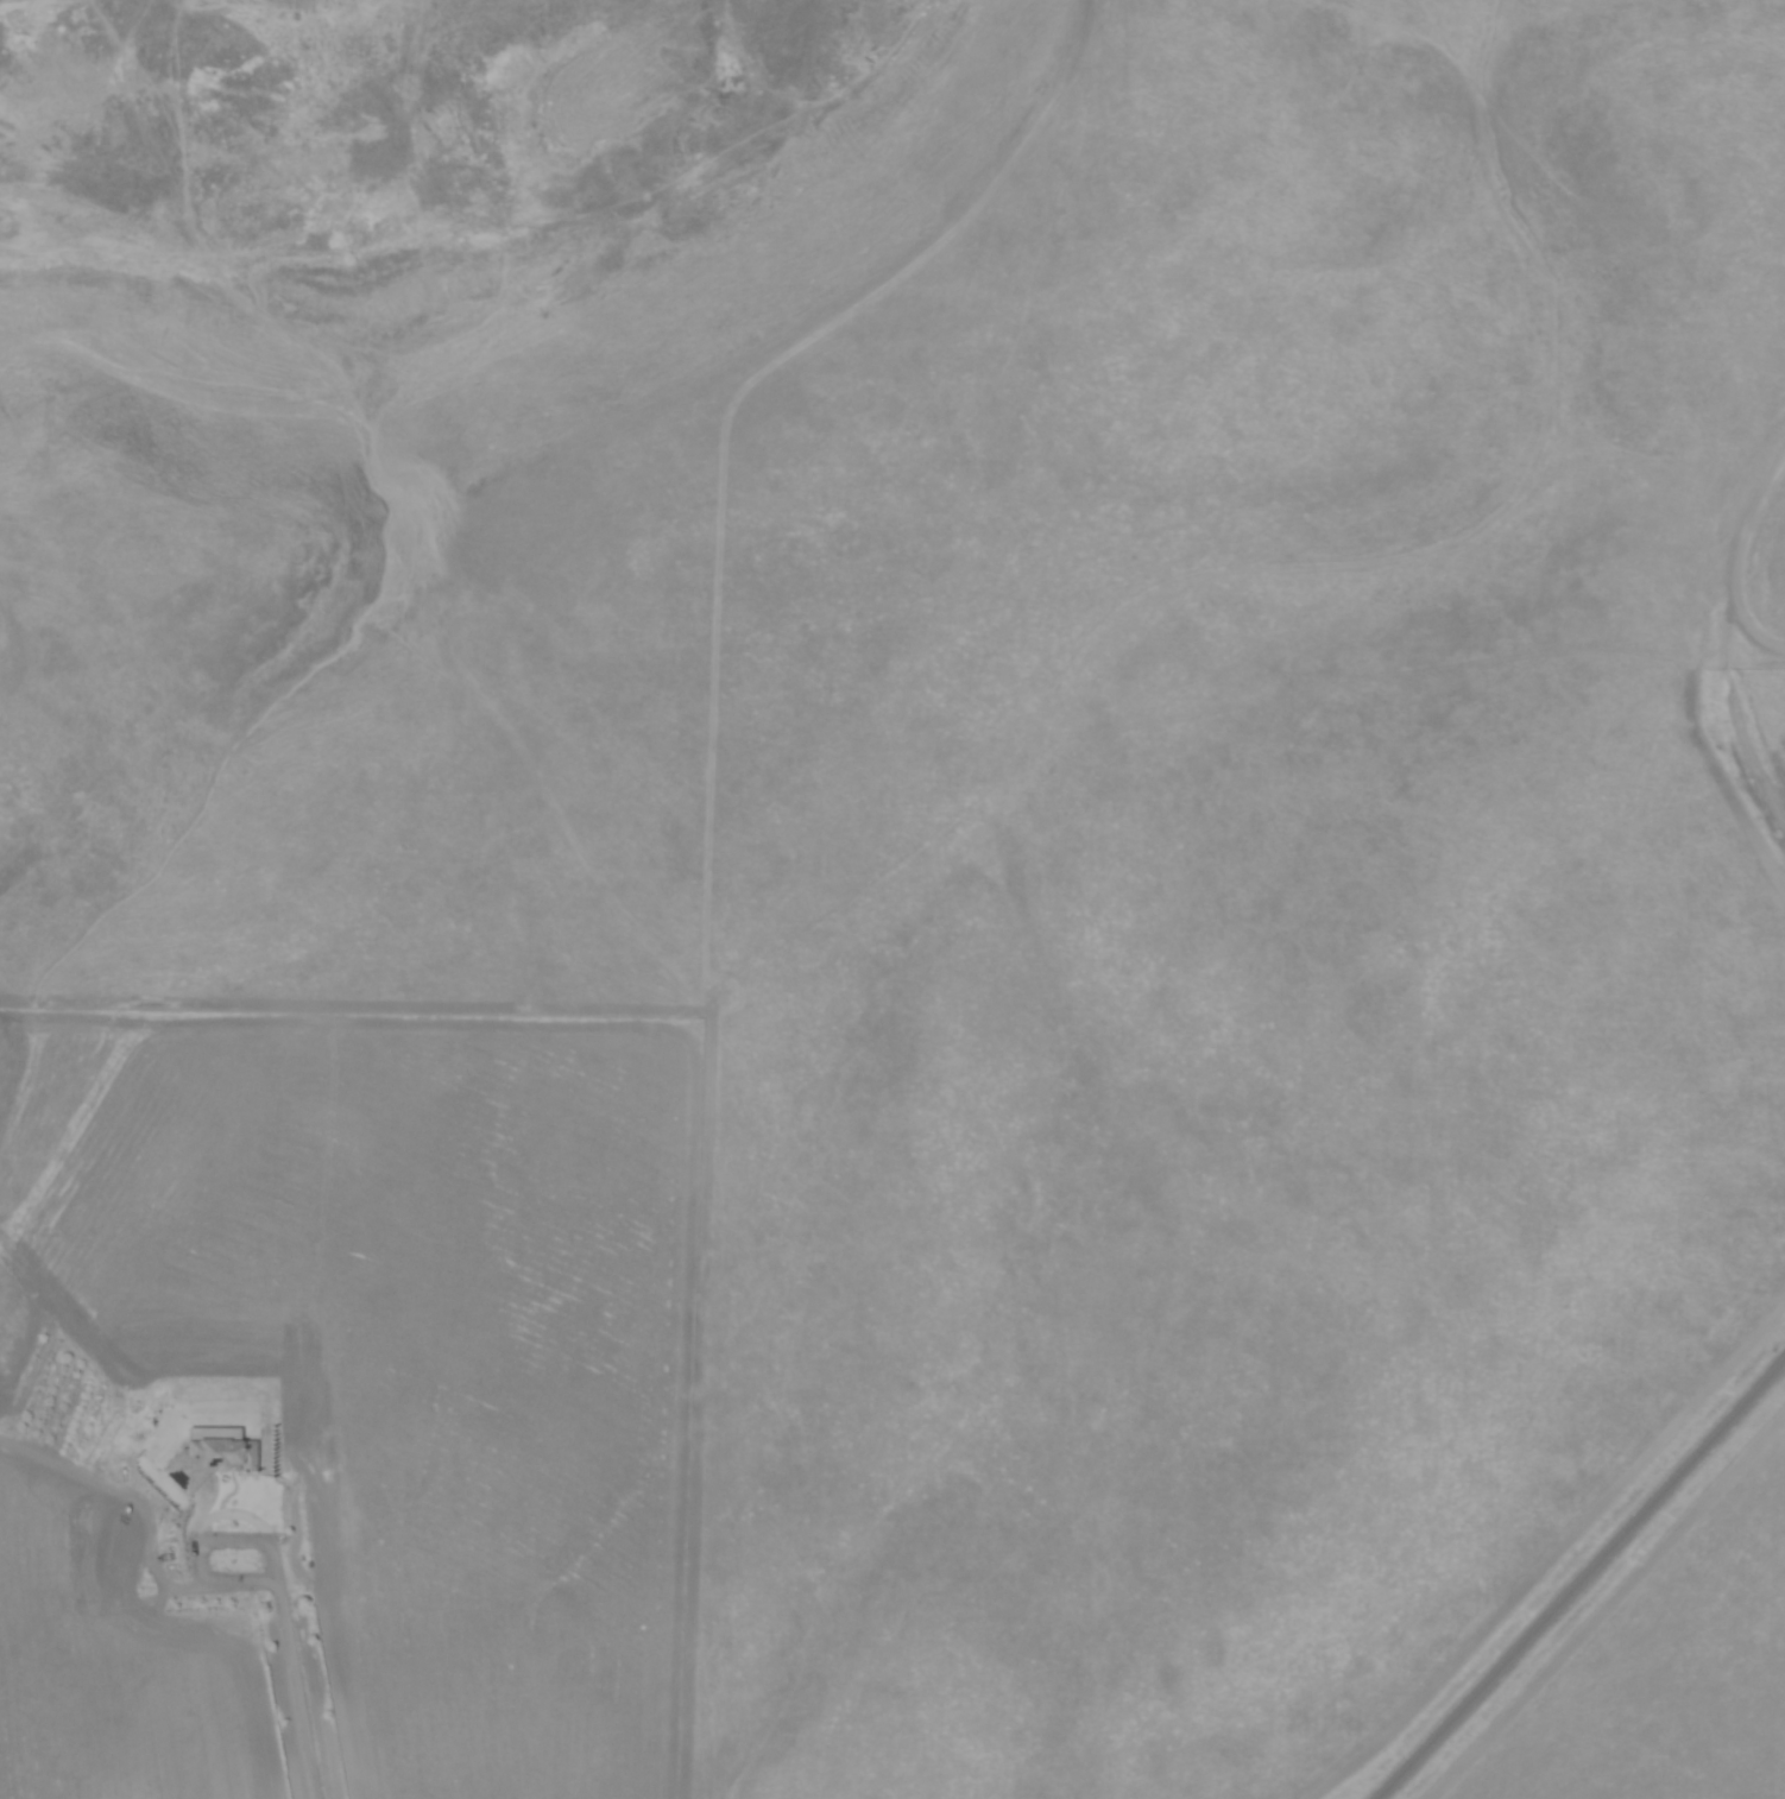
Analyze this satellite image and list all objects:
quarry: (391, 143)
road: (1737, 644)
road: (1761, 652)
building: (204, 1454)
road: (198, 1533)
road: (1577, 1574)
road: (297, 1691)

